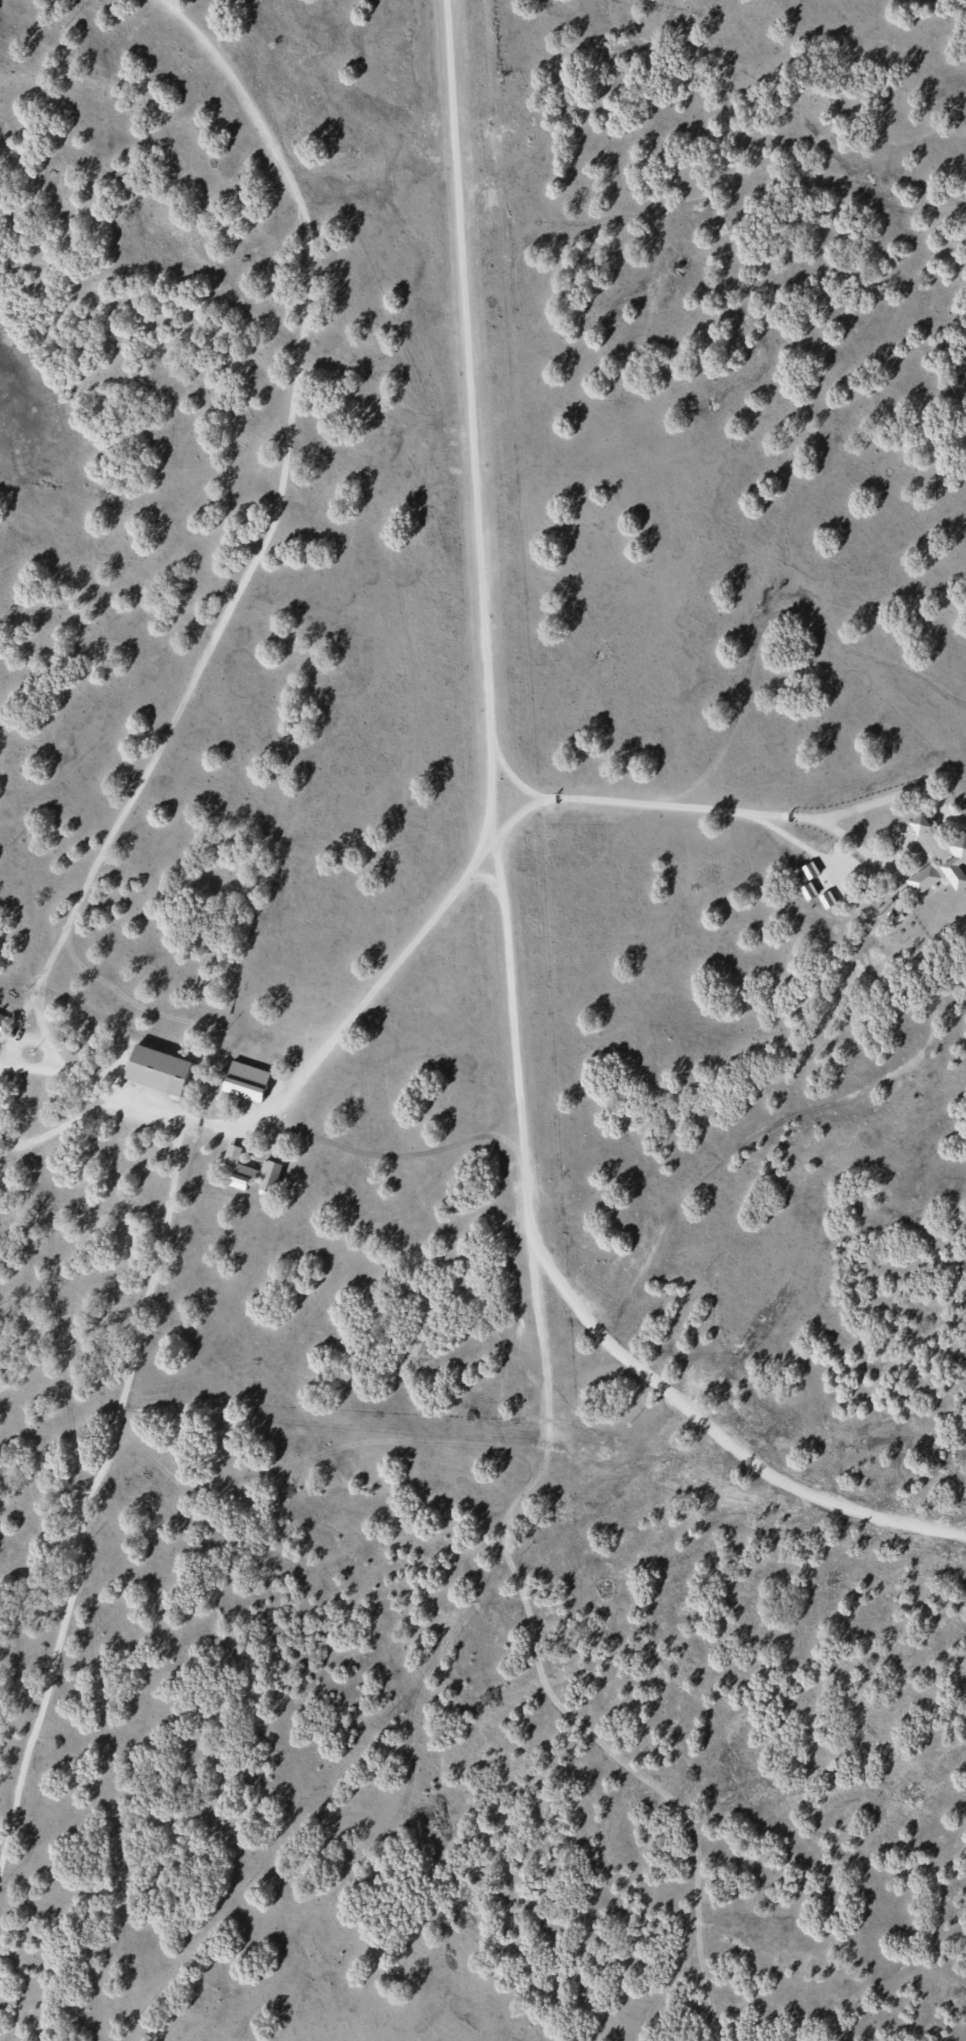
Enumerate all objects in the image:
road: (267, 538)
building: (932, 838)
building: (958, 863)
building: (925, 879)
building: (2, 1022)
building: (160, 1069)
building: (248, 1081)
building: (239, 1168)
building: (271, 1178)

